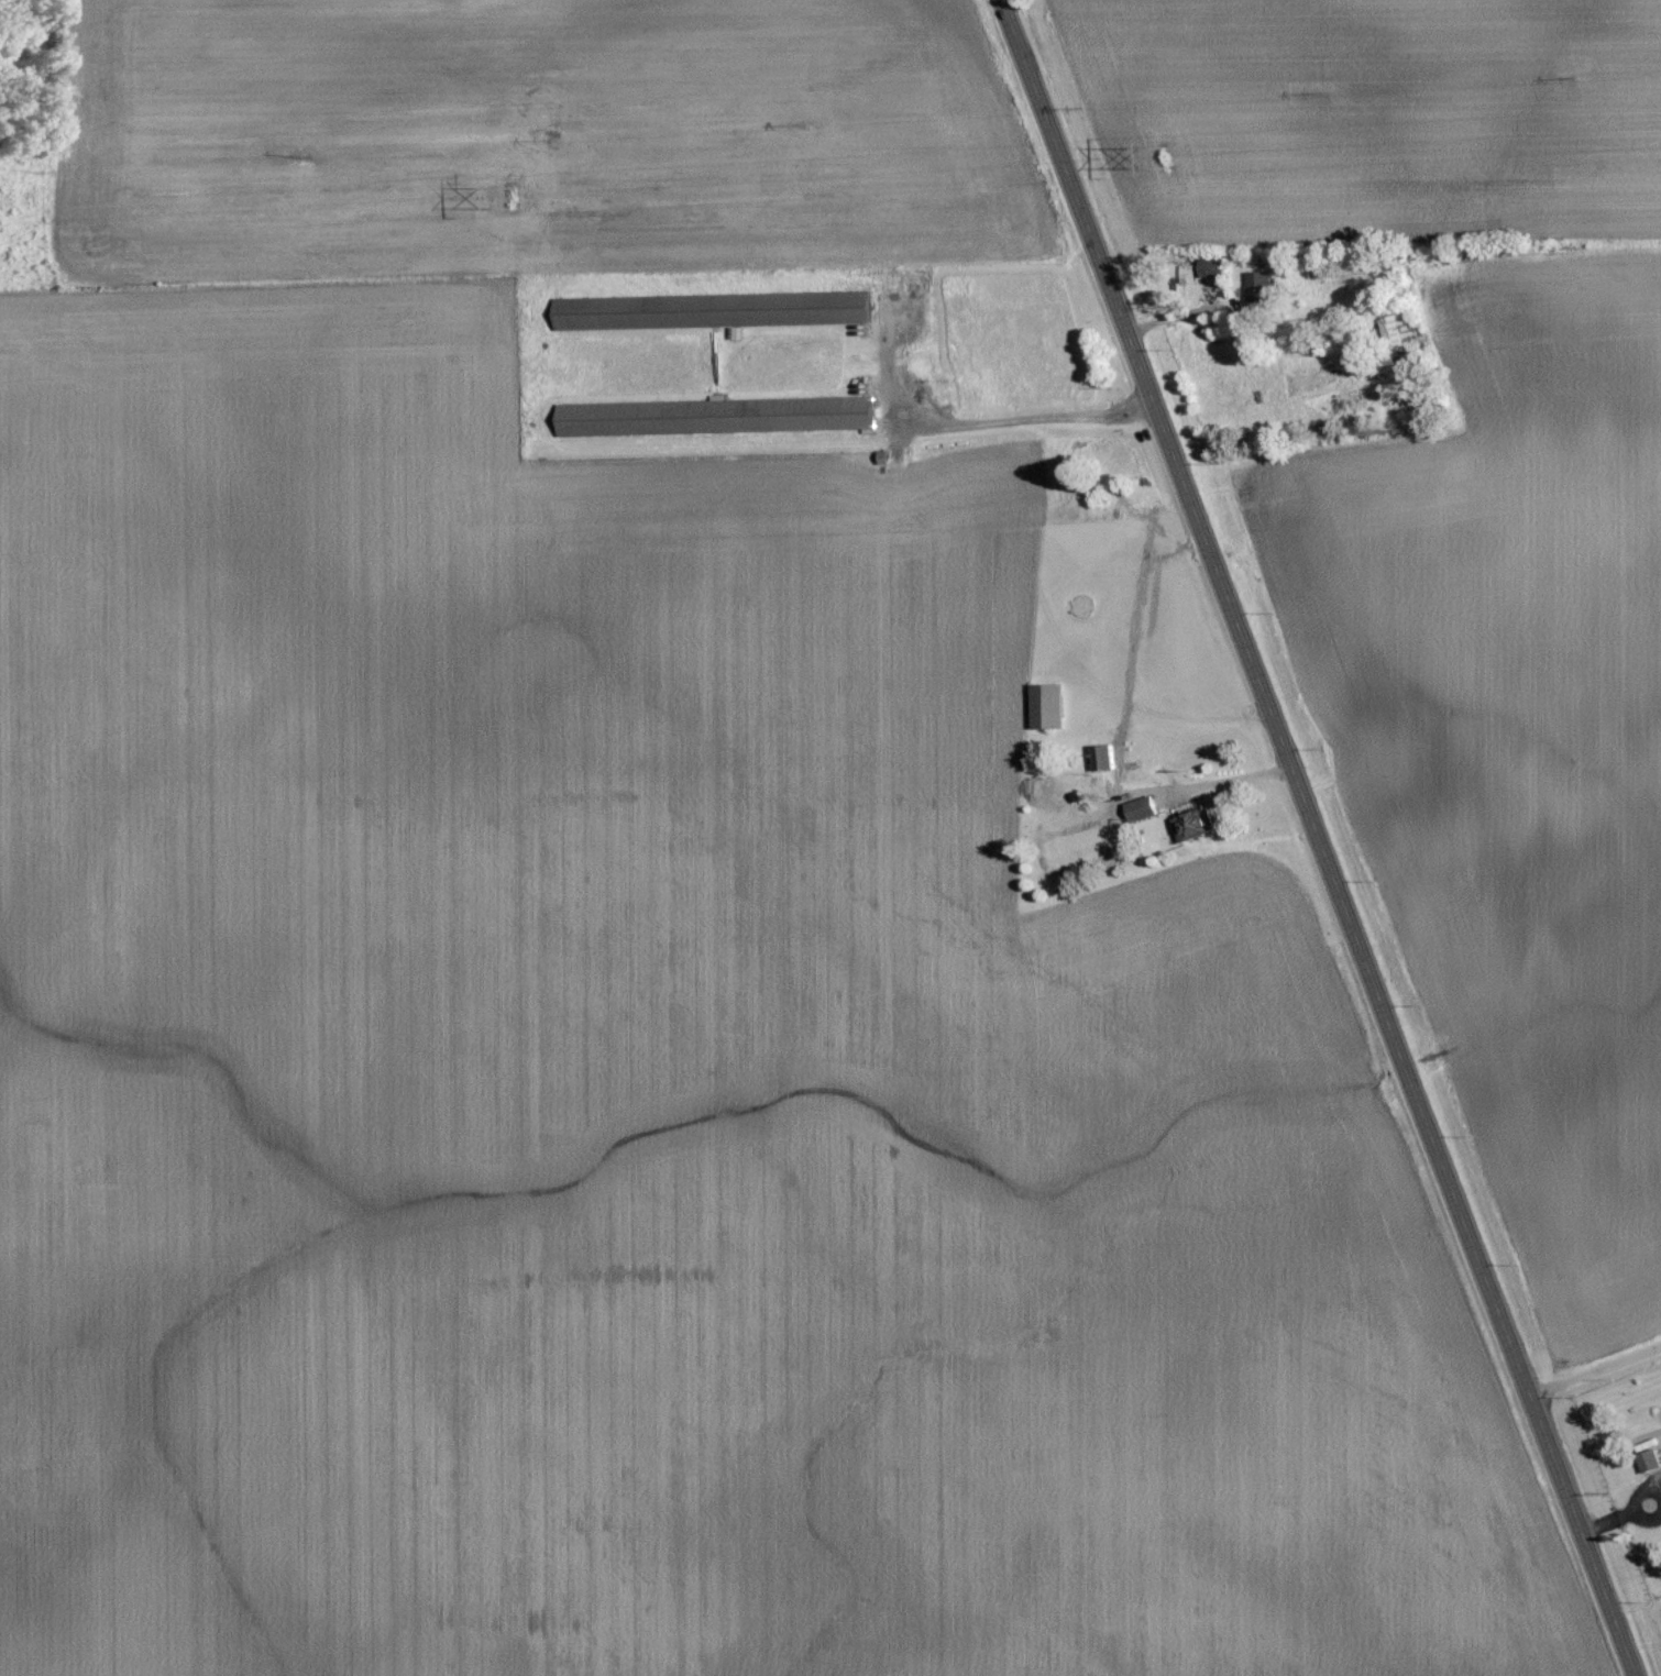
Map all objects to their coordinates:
power tower: (1167, 155)
power tower: (512, 197)
building: (1213, 267)
building: (1259, 286)
building: (713, 309)
building: (1400, 327)
building: (718, 416)
road: (1025, 419)
building: (1048, 705)
building: (1104, 757)
road: (1231, 779)
building: (1142, 807)
building: (1195, 825)
road: (1314, 838)
road: (1595, 1370)
building: (1650, 1460)
road: (1628, 1513)

